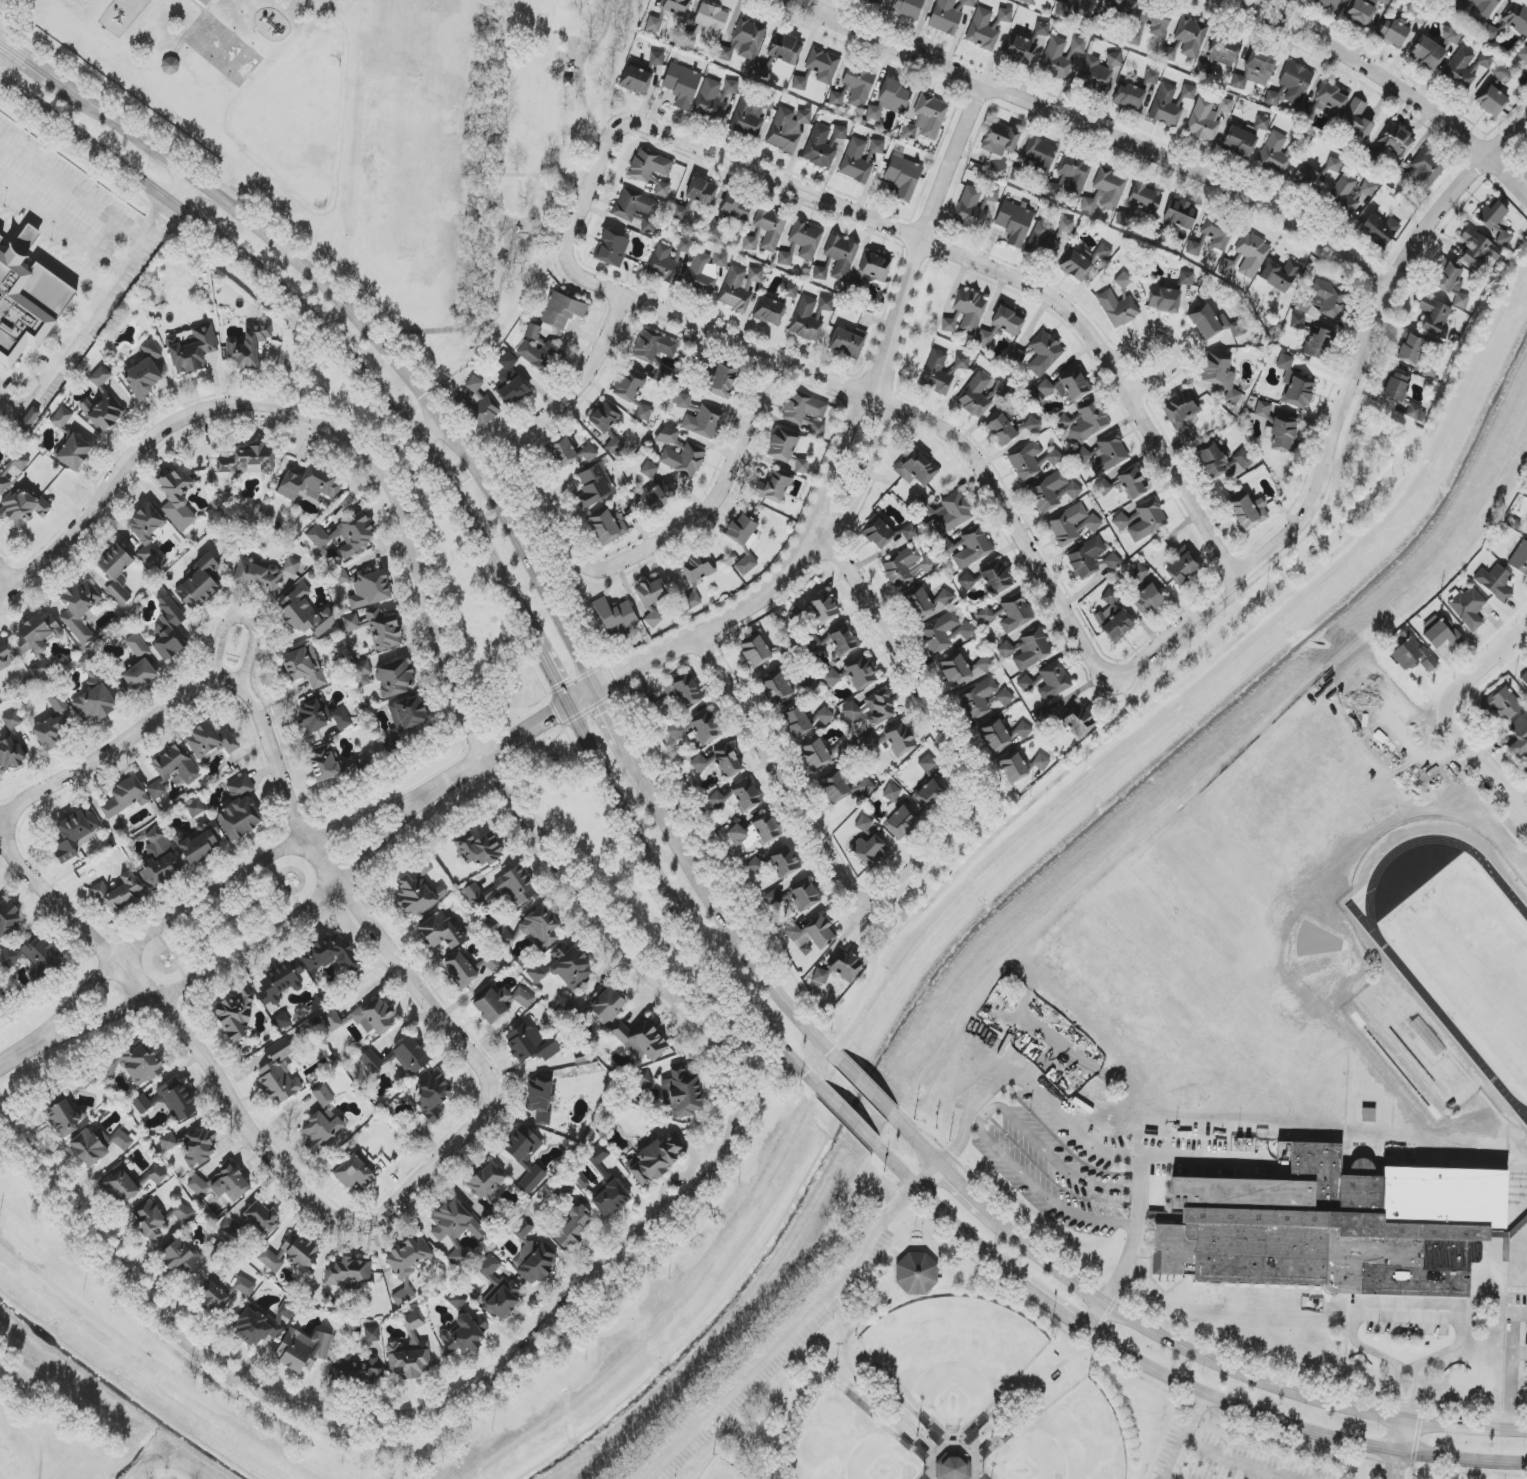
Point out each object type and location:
building: (1058, 0)
building: (877, 1)
building: (1027, 1)
building: (205, 3)
building: (968, 3)
building: (1328, 3)
building: (1122, 6)
building: (676, 7)
building: (908, 8)
building: (1075, 8)
building: (1482, 9)
road: (819, 10)
building: (1363, 10)
building: (1005, 14)
building: (945, 16)
building: (1516, 19)
building: (653, 24)
building: (711, 24)
building: (1150, 25)
building: (983, 29)
building: (1042, 29)
building: (1493, 31)
building: (1393, 32)
building: (1452, 35)
building: (692, 36)
building: (1191, 36)
building: (743, 42)
road: (10, 48)
building: (785, 49)
building: (1020, 50)
building: (1169, 52)
building: (1427, 53)
building: (1219, 54)
building: (1523, 54)
building: (1060, 56)
building: (656, 59)
building: (1483, 63)
building: (822, 65)
road: (36, 66)
building: (1460, 68)
building: (762, 69)
building: (1256, 70)
road: (580, 73)
building: (1097, 73)
building: (1501, 74)
building: (635, 80)
road: (1387, 80)
building: (1296, 83)
building: (859, 84)
building: (681, 85)
building: (1135, 94)
building: (1187, 94)
building: (715, 97)
building: (836, 98)
building: (890, 99)
building: (1492, 101)
building: (1327, 102)
building: (1166, 107)
building: (931, 115)
building: (749, 116)
building: (1207, 117)
building: (1356, 120)
building: (1262, 123)
road: (1088, 126)
building: (787, 128)
building: (909, 131)
building: (840, 132)
building: (1000, 139)
building: (1396, 140)
building: (1240, 141)
building: (877, 146)
building: (819, 148)
building: (1040, 154)
building: (1275, 155)
park: (530, 156)
building: (856, 162)
road: (483, 164)
building: (650, 167)
building: (1422, 170)
road: (540, 175)
building: (1315, 175)
building: (903, 176)
building: (1070, 178)
road: (72, 189)
building: (662, 189)
road: (186, 191)
building: (701, 191)
building: (1105, 191)
building: (1350, 193)
building: (991, 195)
building: (1145, 198)
building: (633, 205)
building: (735, 207)
building: (970, 210)
building: (1181, 214)
building: (1122, 219)
building: (1014, 222)
building: (1495, 222)
road: (62, 225)
building: (648, 225)
building: (1379, 229)
building: (766, 231)
building: (1211, 237)
building: (0, 238)
road: (920, 238)
building: (806, 239)
building: (1048, 239)
building: (611, 248)
building: (1477, 250)
building: (1103, 251)
building: (1251, 255)
building: (841, 256)
building: (785, 258)
building: (668, 260)
building: (1075, 266)
building: (1226, 267)
building: (874, 268)
building: (705, 271)
building: (820, 273)
road: (1004, 274)
building: (1280, 275)
building: (1186, 278)
building: (1123, 280)
building: (1451, 282)
building: (739, 287)
building: (790, 290)
building: (27, 299)
road: (498, 299)
building: (1164, 299)
building: (1325, 300)
building: (825, 303)
building: (1118, 309)
building: (969, 310)
building: (561, 311)
building: (769, 311)
road: (309, 315)
building: (1434, 316)
road: (90, 318)
building: (806, 320)
building: (1298, 321)
building: (1215, 324)
building: (948, 325)
building: (1002, 325)
building: (534, 333)
road: (380, 334)
building: (848, 342)
building: (1318, 343)
building: (247, 346)
road: (1174, 347)
building: (1410, 348)
building: (191, 349)
building: (655, 351)
building: (540, 353)
building: (1044, 353)
building: (941, 371)
building: (145, 372)
road: (816, 375)
building: (1220, 375)
building: (100, 376)
building: (723, 380)
building: (511, 382)
building: (1295, 384)
building: (629, 385)
building: (1396, 387)
building: (1062, 388)
building: (980, 395)
building: (681, 401)
building: (477, 402)
road: (557, 407)
building: (102, 412)
building: (644, 412)
building: (1180, 412)
building: (1413, 412)
building: (806, 413)
road: (1337, 416)
building: (605, 417)
building: (61, 418)
building: (29, 419)
building: (703, 422)
building: (1085, 422)
building: (1032, 425)
road: (306, 428)
building: (1277, 428)
building: (1001, 430)
road: (437, 438)
building: (783, 445)
building: (614, 446)
building: (74, 452)
building: (563, 452)
building: (588, 453)
building: (679, 453)
building: (1104, 454)
building: (1054, 457)
building: (248, 460)
building: (1027, 460)
road: (838, 461)
building: (1220, 461)
building: (802, 466)
building: (915, 467)
building: (649, 469)
building: (12, 471)
road: (862, 472)
building: (1125, 484)
building: (310, 485)
building: (594, 485)
building: (773, 487)
building: (1053, 491)
building: (656, 497)
building: (177, 499)
building: (23, 507)
building: (1249, 513)
building: (948, 514)
road: (691, 520)
building: (1148, 520)
building: (1121, 521)
building: (1073, 524)
building: (608, 526)
building: (146, 530)
building: (742, 532)
building: (908, 533)
building: (879, 534)
building: (345, 535)
building: (968, 549)
building: (1085, 558)
building: (1519, 558)
building: (1112, 561)
building: (746, 565)
building: (907, 566)
building: (697, 568)
building: (1183, 568)
building: (1139, 573)
road: (5, 574)
building: (116, 574)
building: (264, 574)
building: (341, 577)
building: (990, 578)
building: (1494, 582)
building: (199, 583)
building: (369, 589)
building: (652, 598)
building: (1147, 600)
building: (690, 601)
building: (926, 603)
building: (823, 607)
building: (1468, 608)
building: (79, 609)
building: (304, 613)
building: (1015, 613)
building: (615, 616)
building: (985, 616)
road: (243, 619)
building: (350, 622)
building: (1117, 627)
building: (168, 628)
building: (384, 630)
building: (945, 633)
building: (1440, 633)
building: (834, 642)
building: (37, 643)
building: (138, 647)
building: (1027, 650)
building: (755, 652)
building: (6, 655)
building: (1412, 655)
road: (904, 663)
building: (304, 667)
building: (363, 668)
road: (551, 668)
road: (638, 669)
road: (1201, 671)
building: (854, 674)
building: (138, 676)
building: (395, 678)
building: (1524, 678)
building: (1054, 681)
building: (1024, 683)
building: (778, 688)
building: (683, 691)
building: (982, 699)
building: (57, 702)
building: (94, 704)
building: (1502, 704)
building: (880, 708)
building: (852, 711)
building: (407, 714)
building: (314, 715)
building: (824, 716)
building: (1042, 718)
building: (341, 719)
building: (797, 721)
road: (1447, 721)
road: (613, 723)
building: (1080, 723)
building: (677, 728)
building: (706, 728)
building: (49, 733)
building: (1003, 735)
building: (1519, 737)
building: (900, 739)
building: (210, 741)
road: (107, 744)
building: (869, 744)
building: (842, 750)
building: (11, 755)
building: (815, 755)
building: (323, 762)
building: (719, 762)
building: (1041, 762)
building: (1525, 763)
building: (1014, 768)
building: (173, 769)
building: (930, 785)
building: (843, 788)
building: (892, 792)
building: (747, 796)
building: (124, 798)
building: (717, 799)
building: (195, 808)
building: (239, 809)
road: (5, 814)
building: (902, 822)
building: (864, 825)
building: (755, 833)
building: (75, 834)
road: (819, 839)
road: (3, 846)
building: (200, 847)
building: (478, 849)
building: (869, 851)
building: (160, 859)
building: (786, 864)
building: (755, 866)
road: (222, 885)
building: (515, 887)
building: (118, 893)
building: (474, 894)
building: (417, 896)
building: (795, 897)
road: (672, 900)
road: (718, 908)
building: (7, 917)
building: (541, 927)
building: (441, 932)
building: (810, 935)
building: (504, 937)
road: (257, 939)
park: (1458, 948)
building: (329, 957)
stadium: (1448, 959)
building: (845, 964)
building: (570, 966)
building: (460, 970)
building: (535, 973)
building: (821, 976)
building: (280, 982)
building: (500, 1003)
building: (606, 1004)
building: (236, 1014)
building: (375, 1017)
building: (332, 1020)
track: (1441, 1023)
building: (1427, 1035)
building: (641, 1041)
building: (531, 1043)
road: (21, 1055)
building: (409, 1056)
building: (370, 1061)
building: (133, 1063)
building: (279, 1073)
building: (642, 1079)
building: (86, 1081)
road: (861, 1086)
building: (683, 1093)
building: (169, 1100)
building: (540, 1100)
road: (839, 1110)
building: (62, 1115)
building: (321, 1122)
road: (979, 1123)
road: (1084, 1139)
building: (168, 1142)
road: (920, 1142)
building: (98, 1145)
building: (197, 1147)
building: (525, 1157)
building: (655, 1160)
road: (1186, 1160)
building: (157, 1174)
building: (354, 1174)
building: (604, 1174)
road: (930, 1174)
building: (581, 1180)
road: (416, 1182)
building: (486, 1182)
road: (966, 1183)
building: (119, 1184)
building: (222, 1184)
road: (941, 1208)
building: (493, 1214)
building: (263, 1218)
building: (158, 1219)
building: (1334, 1227)
building: (455, 1228)
building: (521, 1229)
building: (571, 1229)
building: (289, 1254)
road: (1045, 1255)
building: (408, 1257)
building: (179, 1258)
road: (1520, 1259)
building: (533, 1261)
building: (916, 1272)
building: (348, 1274)
building: (244, 1286)
building: (498, 1291)
building: (212, 1297)
building: (403, 1297)
building: (457, 1300)
road: (1047, 1300)
road: (1408, 1301)
road: (1096, 1315)
building: (261, 1325)
road: (569, 1329)
building: (372, 1334)
building: (465, 1334)
road: (1513, 1335)
road: (788, 1337)
building: (303, 1349)
building: (410, 1351)
building: (355, 1368)
road: (867, 1384)
park: (927, 1387)
road: (1512, 1392)
road: (1299, 1394)
road: (1404, 1414)
road: (1194, 1415)
road: (1404, 1420)
road: (1519, 1428)
road: (1296, 1431)
park: (63, 1435)
road: (1401, 1439)
road: (973, 1445)
road: (1174, 1458)
road: (1247, 1458)
road: (939, 1466)
road: (1396, 1466)
building: (953, 1468)

